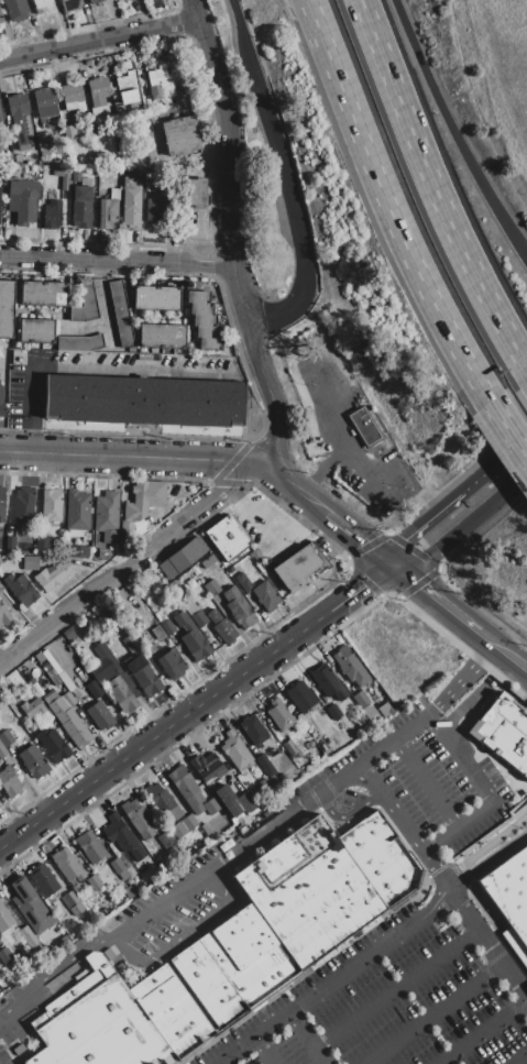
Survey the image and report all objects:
building: (92, 1)
building: (41, 3)
building: (69, 4)
building: (15, 9)
road: (238, 17)
building: (1, 19)
road: (99, 41)
building: (157, 81)
park: (484, 81)
building: (125, 88)
building: (98, 90)
building: (72, 95)
road: (264, 100)
building: (44, 102)
building: (169, 105)
building: (20, 118)
building: (0, 120)
building: (75, 130)
road: (452, 131)
building: (68, 132)
building: (179, 135)
building: (43, 141)
building: (17, 157)
road: (229, 161)
building: (63, 175)
road: (433, 187)
building: (196, 193)
building: (22, 200)
road: (385, 201)
building: (131, 202)
building: (81, 204)
building: (109, 210)
building: (161, 210)
building: (52, 215)
road: (114, 257)
road: (304, 263)
building: (43, 293)
building: (197, 296)
building: (155, 297)
road: (102, 298)
building: (84, 304)
building: (6, 308)
building: (200, 308)
building: (120, 312)
building: (202, 319)
building: (35, 331)
building: (206, 331)
building: (161, 336)
building: (208, 342)
building: (78, 343)
building: (131, 349)
building: (317, 365)
road: (268, 395)
building: (143, 402)
building: (1, 405)
road: (31, 406)
building: (363, 427)
road: (505, 428)
road: (514, 448)
road: (129, 456)
building: (342, 470)
building: (372, 482)
road: (290, 485)
building: (392, 491)
road: (231, 498)
building: (143, 500)
building: (1, 504)
building: (23, 504)
building: (51, 504)
building: (392, 505)
road: (441, 507)
building: (77, 511)
building: (106, 512)
road: (299, 516)
road: (462, 528)
road: (260, 529)
building: (125, 530)
building: (86, 536)
building: (109, 537)
building: (227, 537)
road: (358, 537)
building: (10, 542)
building: (44, 545)
building: (77, 551)
building: (102, 553)
building: (182, 557)
road: (128, 561)
building: (30, 562)
building: (208, 562)
traffic signals: (391, 564)
building: (295, 568)
building: (51, 575)
building: (242, 581)
building: (211, 588)
building: (20, 590)
building: (265, 595)
road: (432, 597)
building: (190, 607)
building: (238, 607)
building: (3, 613)
building: (213, 615)
building: (199, 618)
building: (167, 627)
building: (223, 630)
building: (156, 633)
building: (68, 634)
building: (190, 637)
building: (131, 643)
road: (501, 651)
building: (103, 663)
building: (171, 663)
building: (349, 666)
building: (53, 677)
building: (143, 677)
building: (125, 680)
road: (461, 681)
building: (327, 682)
building: (94, 689)
building: (120, 694)
building: (299, 696)
building: (68, 698)
building: (360, 700)
road: (195, 706)
building: (35, 710)
building: (383, 710)
building: (333, 712)
building: (98, 714)
building: (370, 714)
building: (279, 715)
building: (67, 719)
building: (252, 731)
building: (504, 732)
building: (6, 738)
building: (52, 745)
building: (288, 747)
building: (299, 747)
building: (234, 750)
building: (2, 752)
building: (33, 761)
building: (265, 765)
building: (206, 767)
building: (9, 780)
road: (426, 782)
building: (186, 788)
building: (243, 801)
building: (161, 802)
building: (211, 805)
road: (392, 807)
road: (483, 808)
road: (344, 814)
building: (136, 819)
building: (188, 822)
road: (270, 827)
building: (177, 830)
building: (118, 832)
building: (165, 838)
building: (89, 846)
road: (493, 846)
building: (135, 852)
building: (131, 862)
building: (67, 864)
building: (116, 865)
building: (133, 873)
building: (122, 875)
building: (43, 879)
building: (94, 881)
building: (141, 882)
building: (130, 889)
building: (509, 898)
building: (69, 899)
building: (29, 904)
building: (76, 909)
building: (295, 910)
building: (4, 918)
road: (184, 933)
building: (29, 939)
road: (486, 944)
building: (6, 955)
road: (51, 970)
road: (343, 972)
road: (396, 987)
parking lot: (391, 998)
road: (429, 1013)
building: (118, 1020)
road: (476, 1030)
road: (309, 1036)
road: (263, 1051)
parking lot: (4, 1056)
road: (518, 1057)

